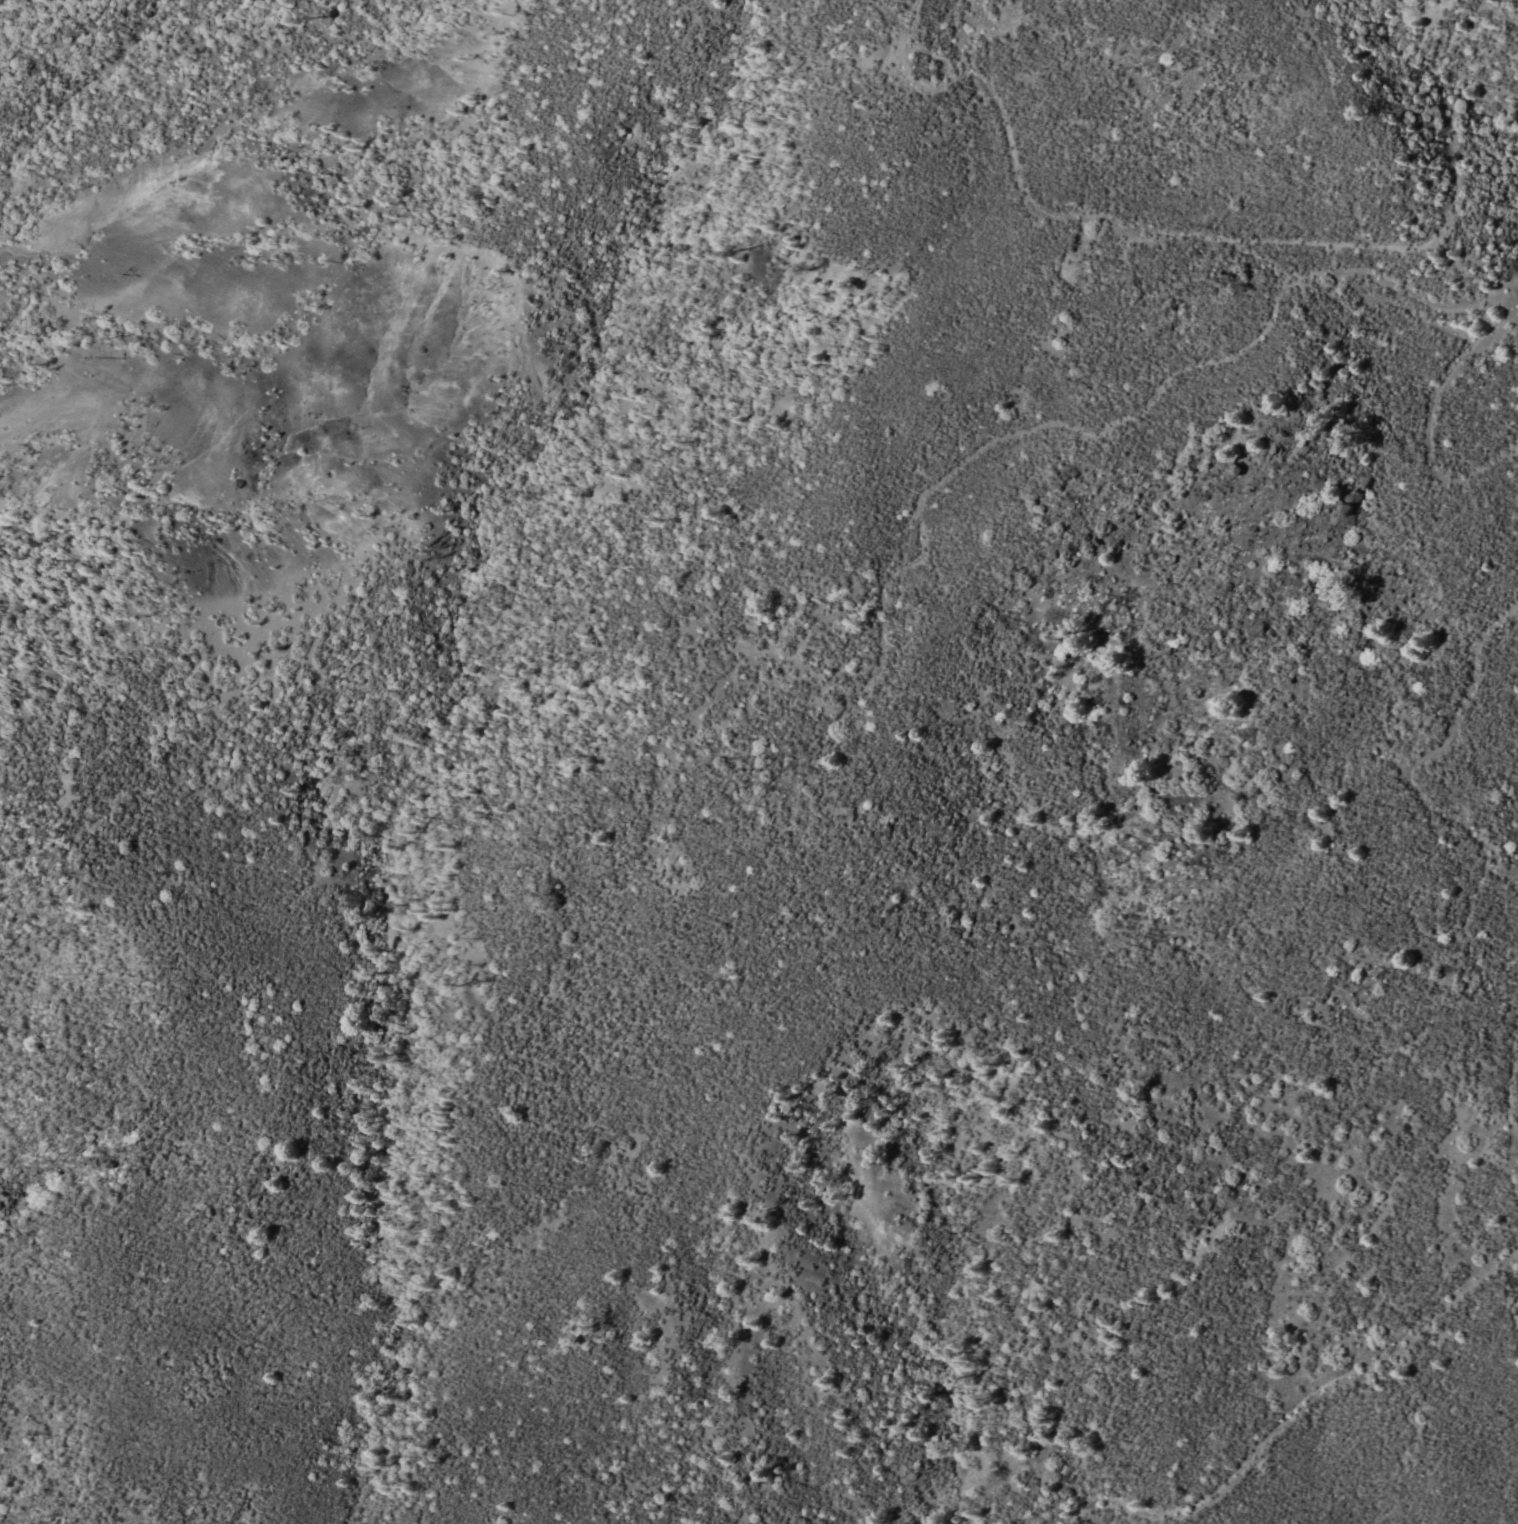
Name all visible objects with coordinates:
quarry: (1430, 145)

